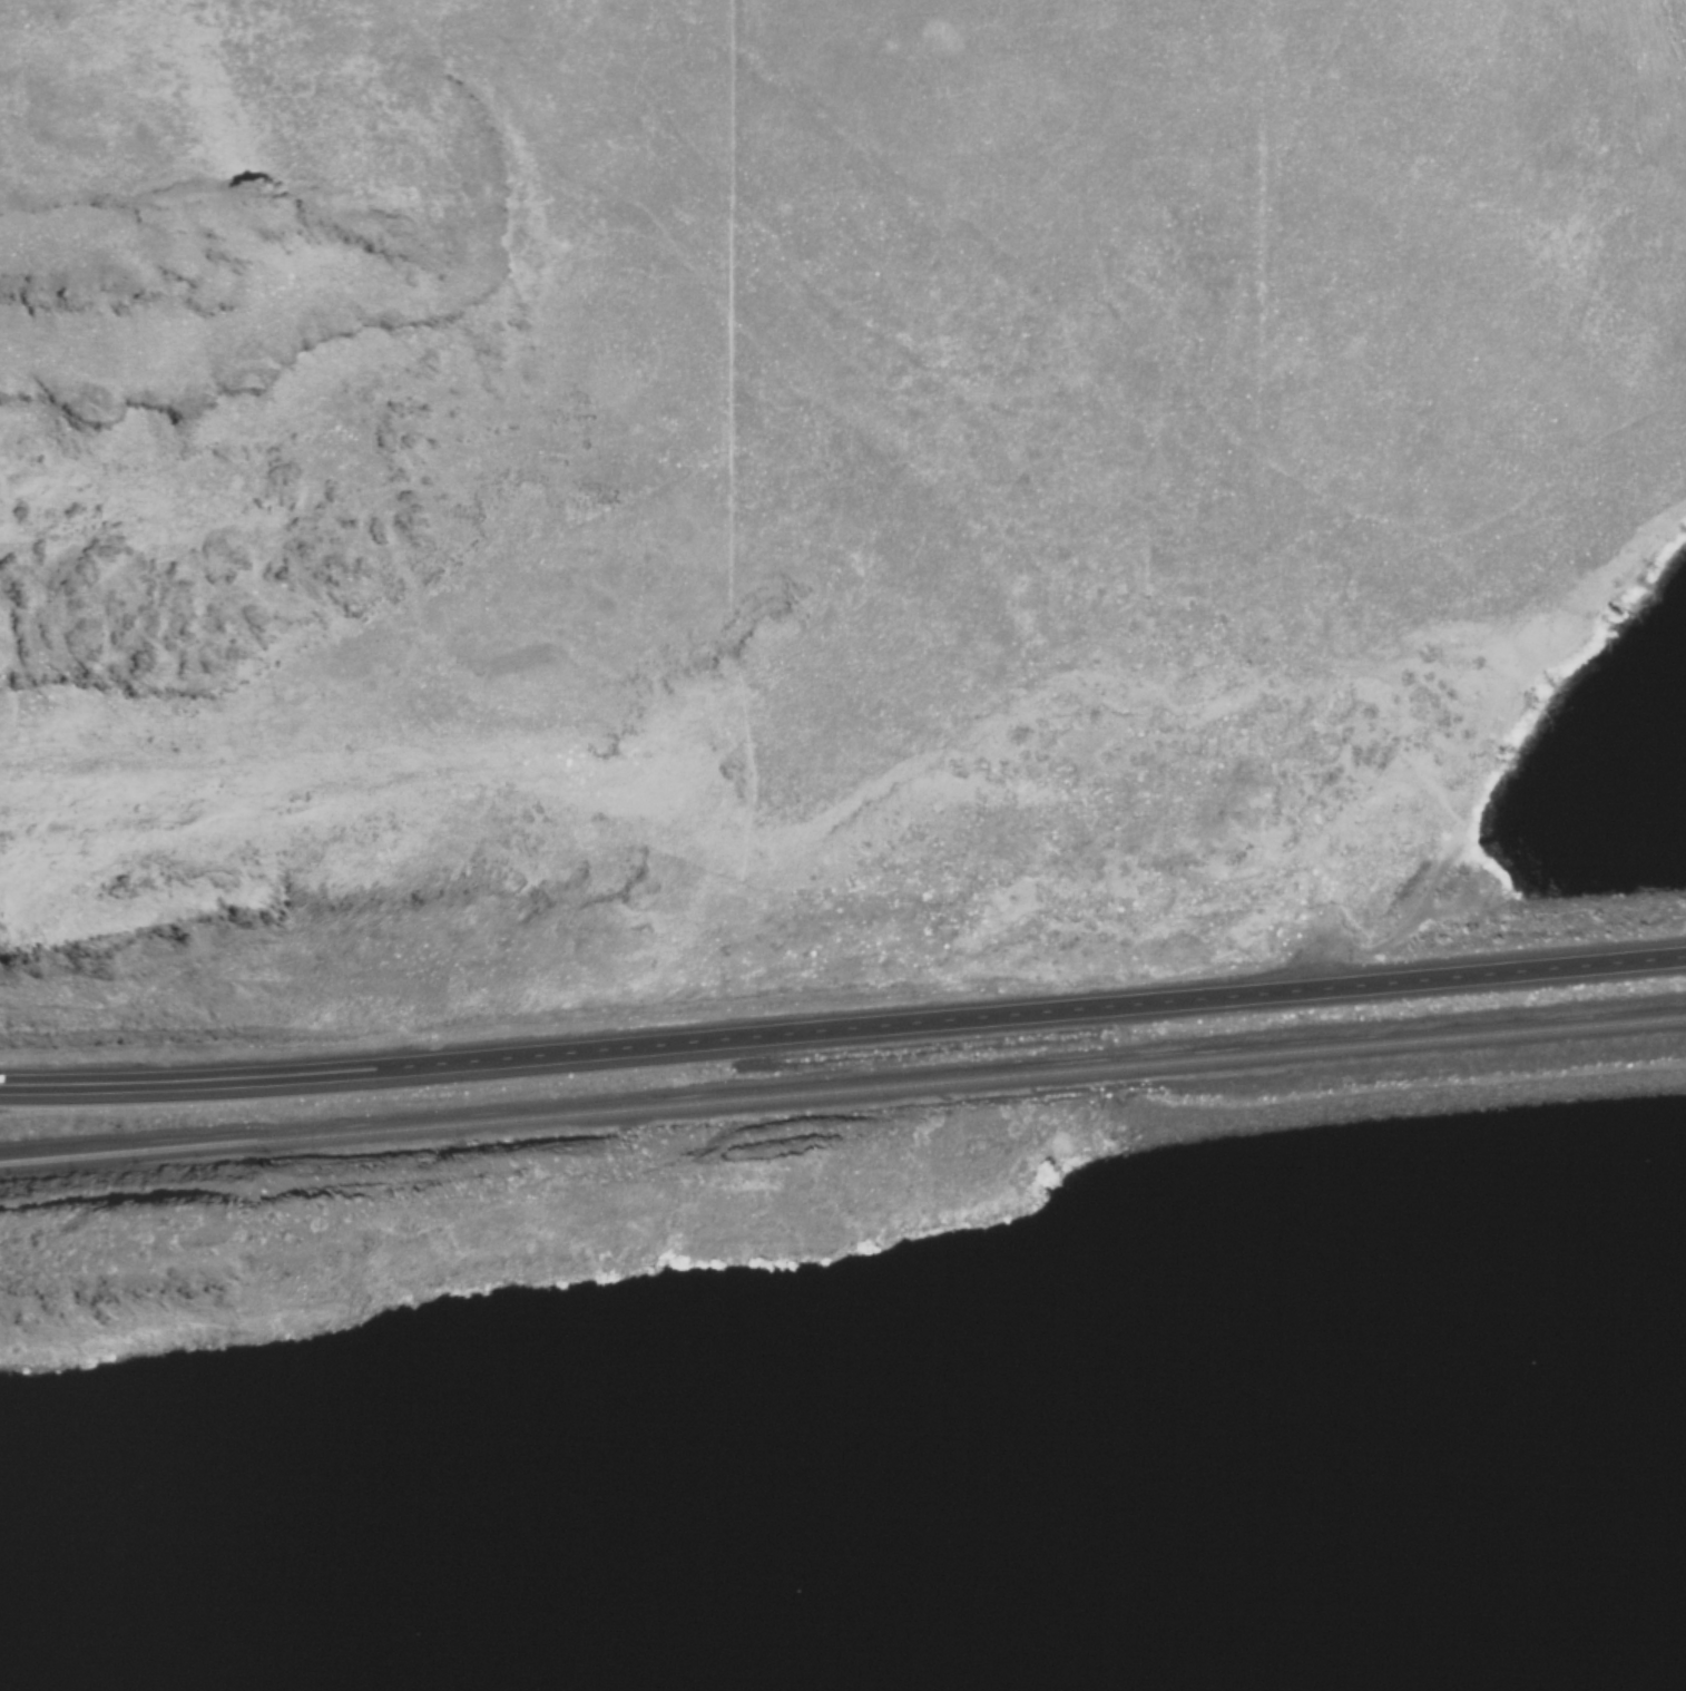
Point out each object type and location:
road: (843, 1037)
railway: (842, 1089)

